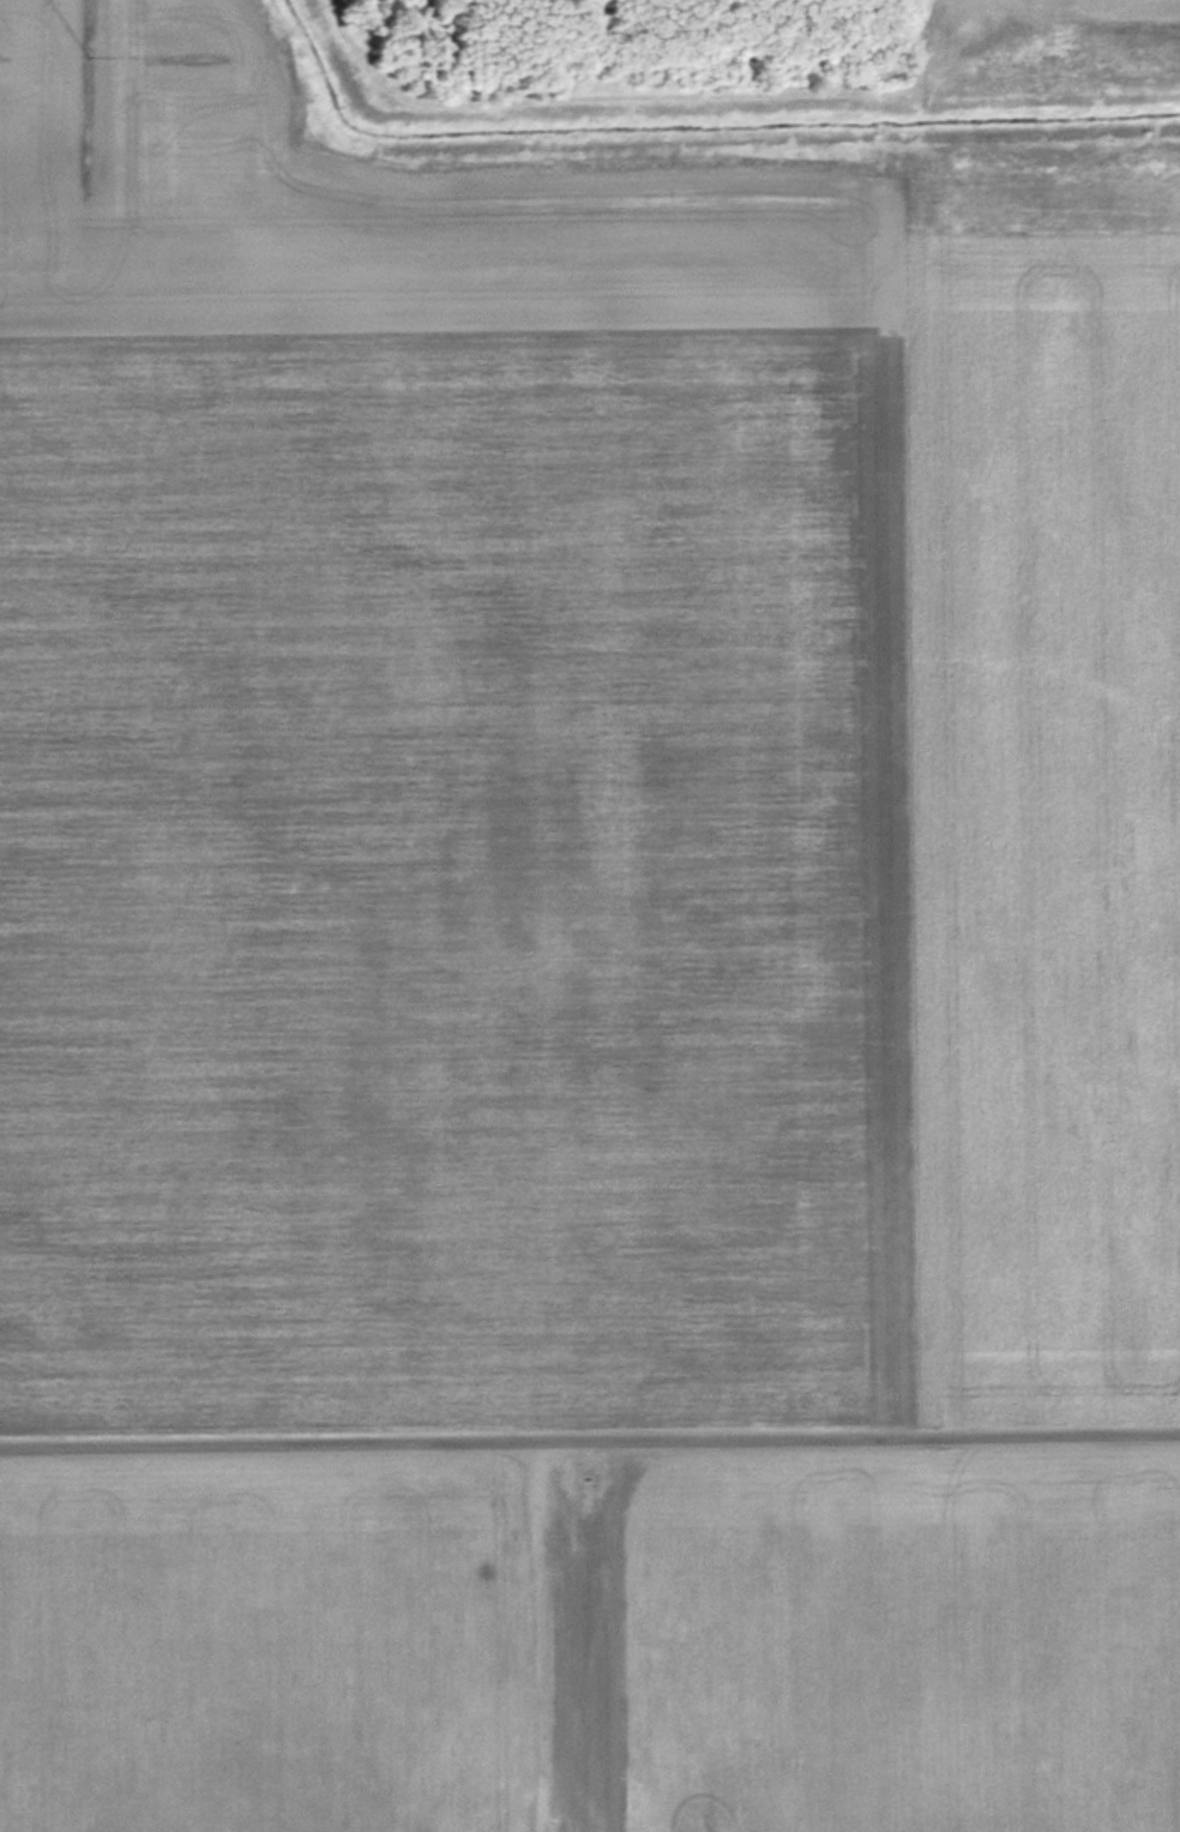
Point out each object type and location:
road: (589, 1447)

